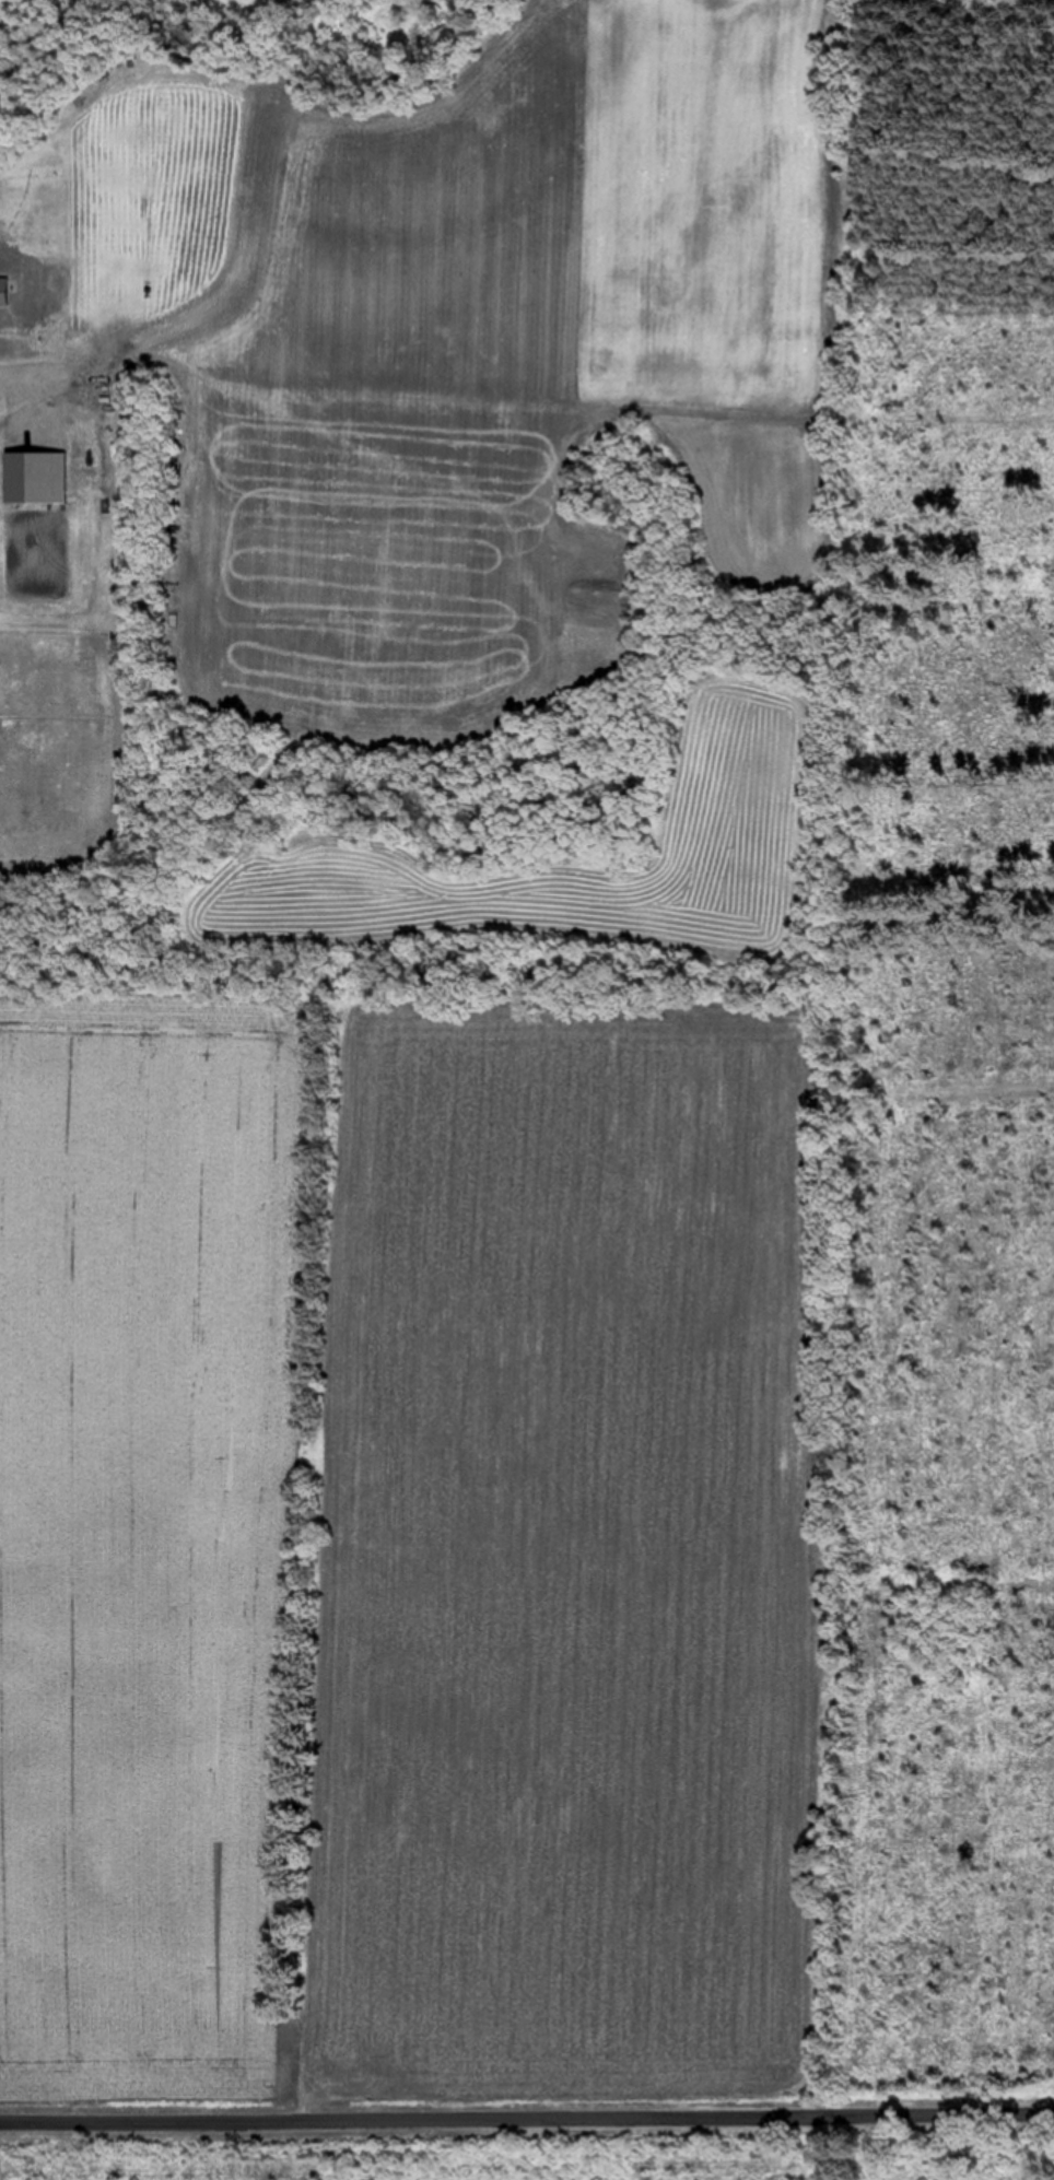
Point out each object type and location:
road: (26, 373)
road: (527, 2111)

